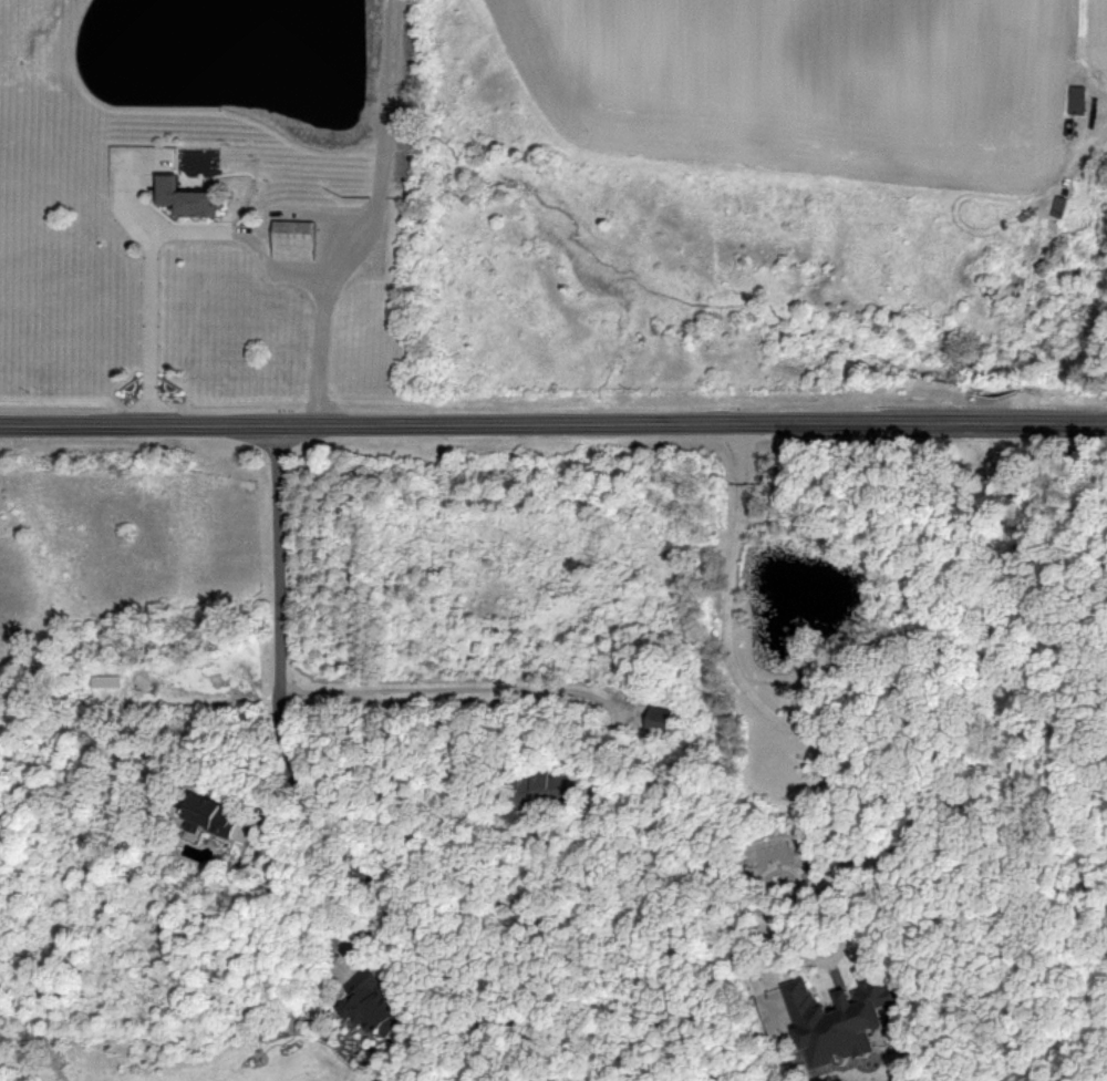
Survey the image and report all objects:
building: (1076, 99)
building: (184, 198)
road: (368, 216)
road: (156, 228)
building: (293, 240)
road: (553, 423)
building: (105, 680)
road: (475, 683)
building: (658, 719)
road: (794, 728)
road: (291, 749)
building: (540, 787)
building: (210, 814)
building: (373, 1003)
building: (837, 1019)
road: (492, 1065)
road: (521, 1069)

